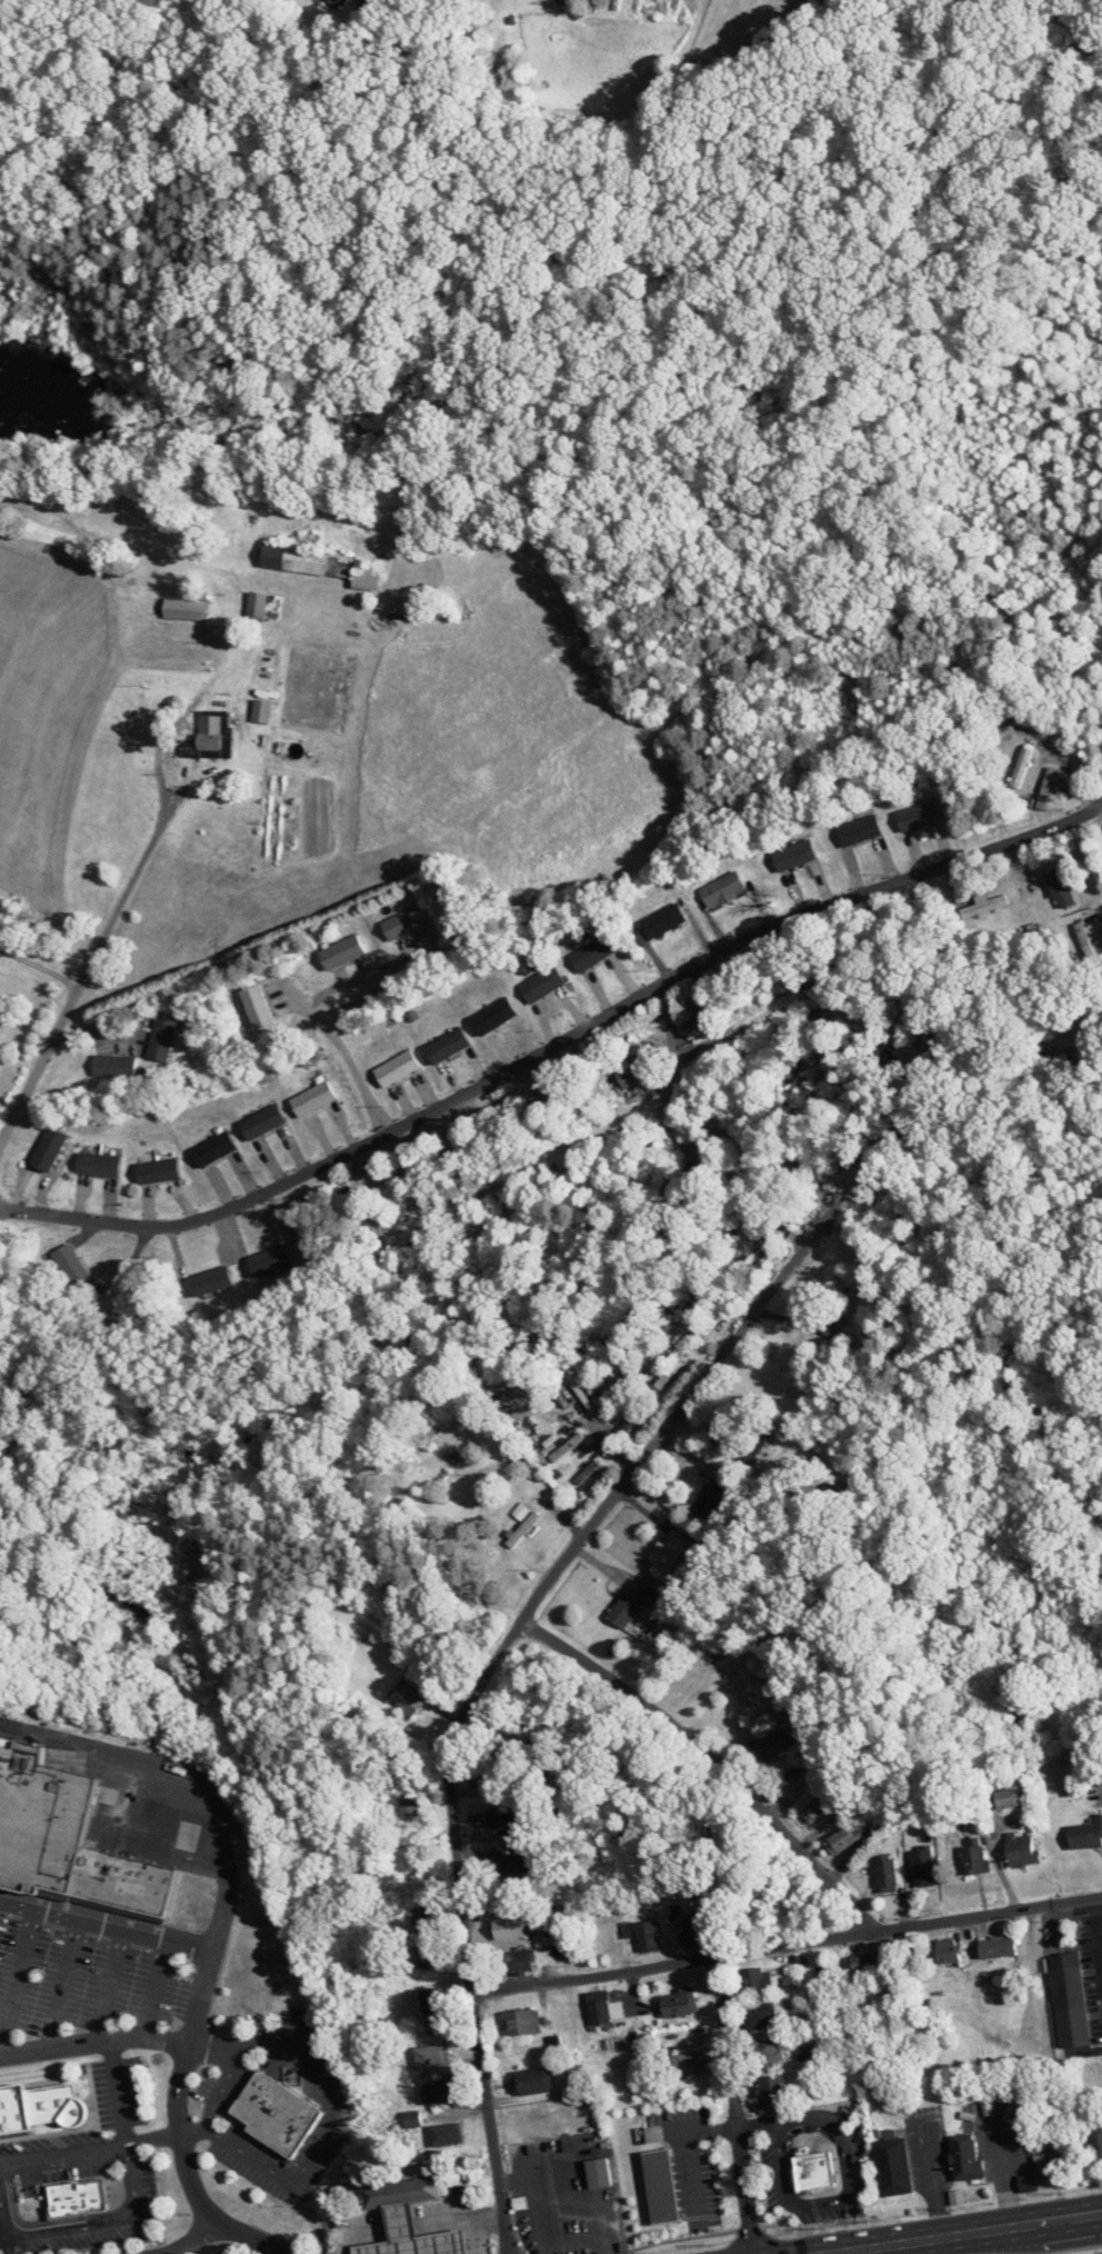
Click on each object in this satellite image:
building: (305, 561)
building: (365, 578)
building: (257, 606)
building: (186, 609)
building: (261, 711)
building: (712, 715)
building: (212, 734)
road: (1063, 760)
building: (1022, 768)
building: (1046, 789)
building: (919, 817)
building: (859, 831)
building: (794, 856)
road: (129, 886)
building: (1061, 887)
building: (722, 889)
building: (984, 907)
building: (663, 920)
building: (404, 921)
building: (341, 951)
building: (592, 953)
building: (542, 984)
building: (257, 1006)
road: (318, 1014)
building: (494, 1015)
building: (702, 1019)
building: (161, 1039)
building: (447, 1045)
road: (555, 1045)
road: (44, 1055)
building: (1056, 1059)
building: (114, 1066)
building: (397, 1068)
building: (631, 1070)
building: (313, 1098)
building: (262, 1121)
building: (477, 1140)
building: (48, 1148)
building: (213, 1148)
building: (98, 1164)
building: (157, 1170)
building: (269, 1259)
building: (76, 1274)
building: (210, 1280)
building: (830, 1324)
building: (605, 1383)
building: (548, 1420)
building: (754, 1440)
building: (568, 1447)
building: (710, 1500)
building: (523, 1524)
building: (671, 1552)
building: (627, 1607)
road: (482, 1678)
building: (741, 1692)
building: (408, 1698)
building: (1023, 1714)
building: (775, 1745)
road: (705, 1764)
building: (493, 1773)
building: (797, 1776)
road: (188, 1778)
building: (1009, 1798)
building: (410, 1806)
building: (820, 1808)
building: (508, 1817)
building: (40, 1822)
building: (1086, 1835)
building: (842, 1839)
building: (1021, 1849)
building: (975, 1857)
building: (511, 1864)
building: (924, 1867)
building: (886, 1874)
building: (122, 1885)
building: (423, 1919)
road: (106, 1927)
building: (510, 1928)
building: (695, 1929)
building: (649, 1936)
road: (787, 1945)
building: (998, 1947)
building: (948, 1951)
building: (428, 1956)
building: (518, 1962)
building: (871, 1964)
road: (16, 1979)
building: (754, 1979)
road: (61, 1985)
road: (110, 1986)
road: (153, 1989)
building: (432, 2001)
building: (678, 2003)
building: (1071, 2006)
building: (604, 2008)
building: (760, 2015)
building: (523, 2022)
road: (93, 2042)
building: (767, 2051)
building: (432, 2057)
building: (688, 2064)
building: (532, 2082)
building: (772, 2087)
road: (221, 2088)
building: (439, 2092)
road: (118, 2093)
road: (734, 2105)
road: (333, 2110)
building: (41, 2111)
building: (277, 2117)
road: (757, 2125)
road: (179, 2127)
building: (447, 2135)
building: (1095, 2141)
road: (90, 2151)
road: (684, 2153)
building: (966, 2161)
building: (893, 2167)
building: (851, 2170)
building: (599, 2173)
building: (814, 2176)
building: (401, 2192)
road: (845, 2195)
building: (74, 2203)
building: (773, 2208)
road: (90, 2223)
road: (964, 2233)
building: (413, 2236)
gas station: (413, 2236)
road: (193, 2240)
road: (843, 2253)

